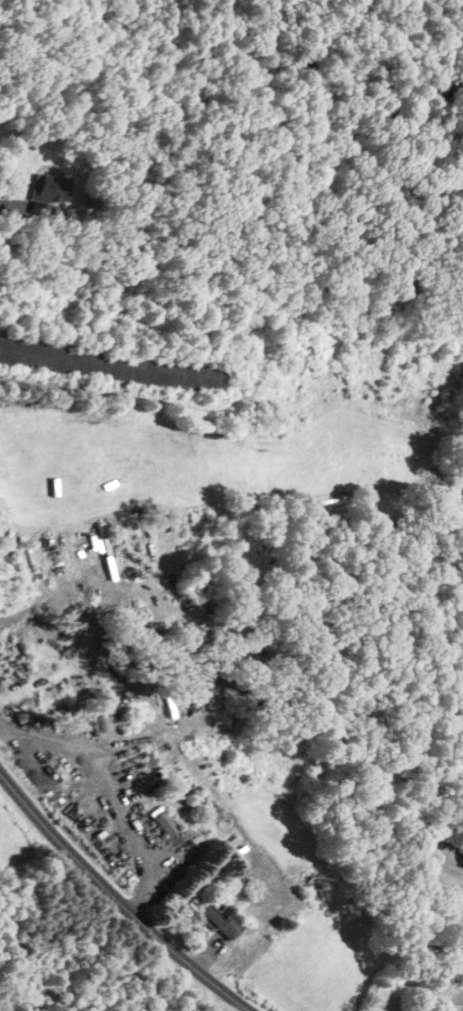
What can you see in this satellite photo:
building: (51, 189)
road: (12, 202)
building: (113, 365)
road: (44, 592)
building: (163, 821)
building: (318, 892)
road: (116, 898)
building: (217, 919)
building: (434, 986)

